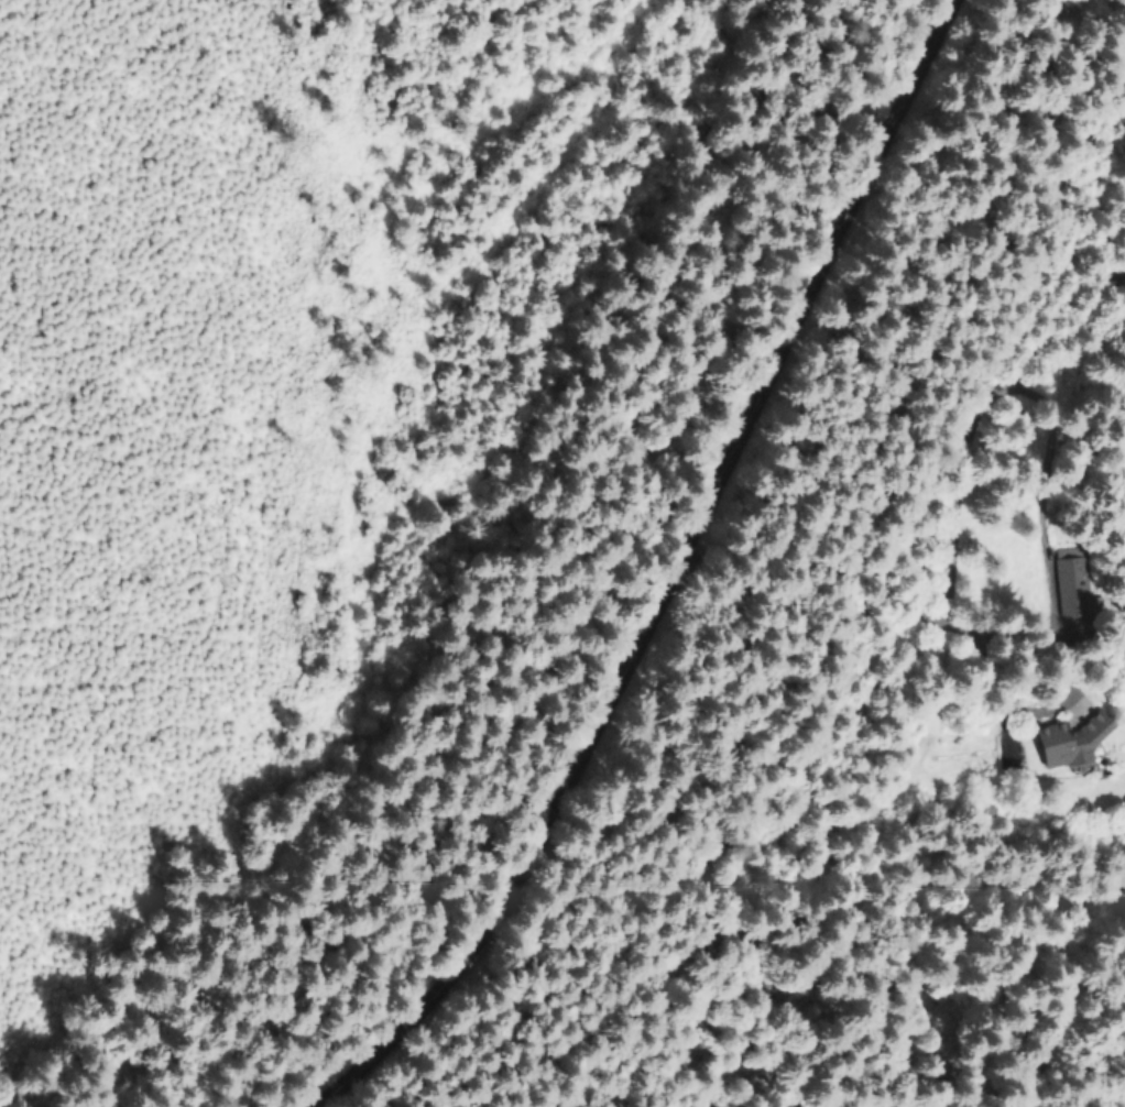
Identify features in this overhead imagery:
road: (700, 292)
road: (329, 471)
road: (681, 574)
building: (1070, 585)
building: (1069, 738)

